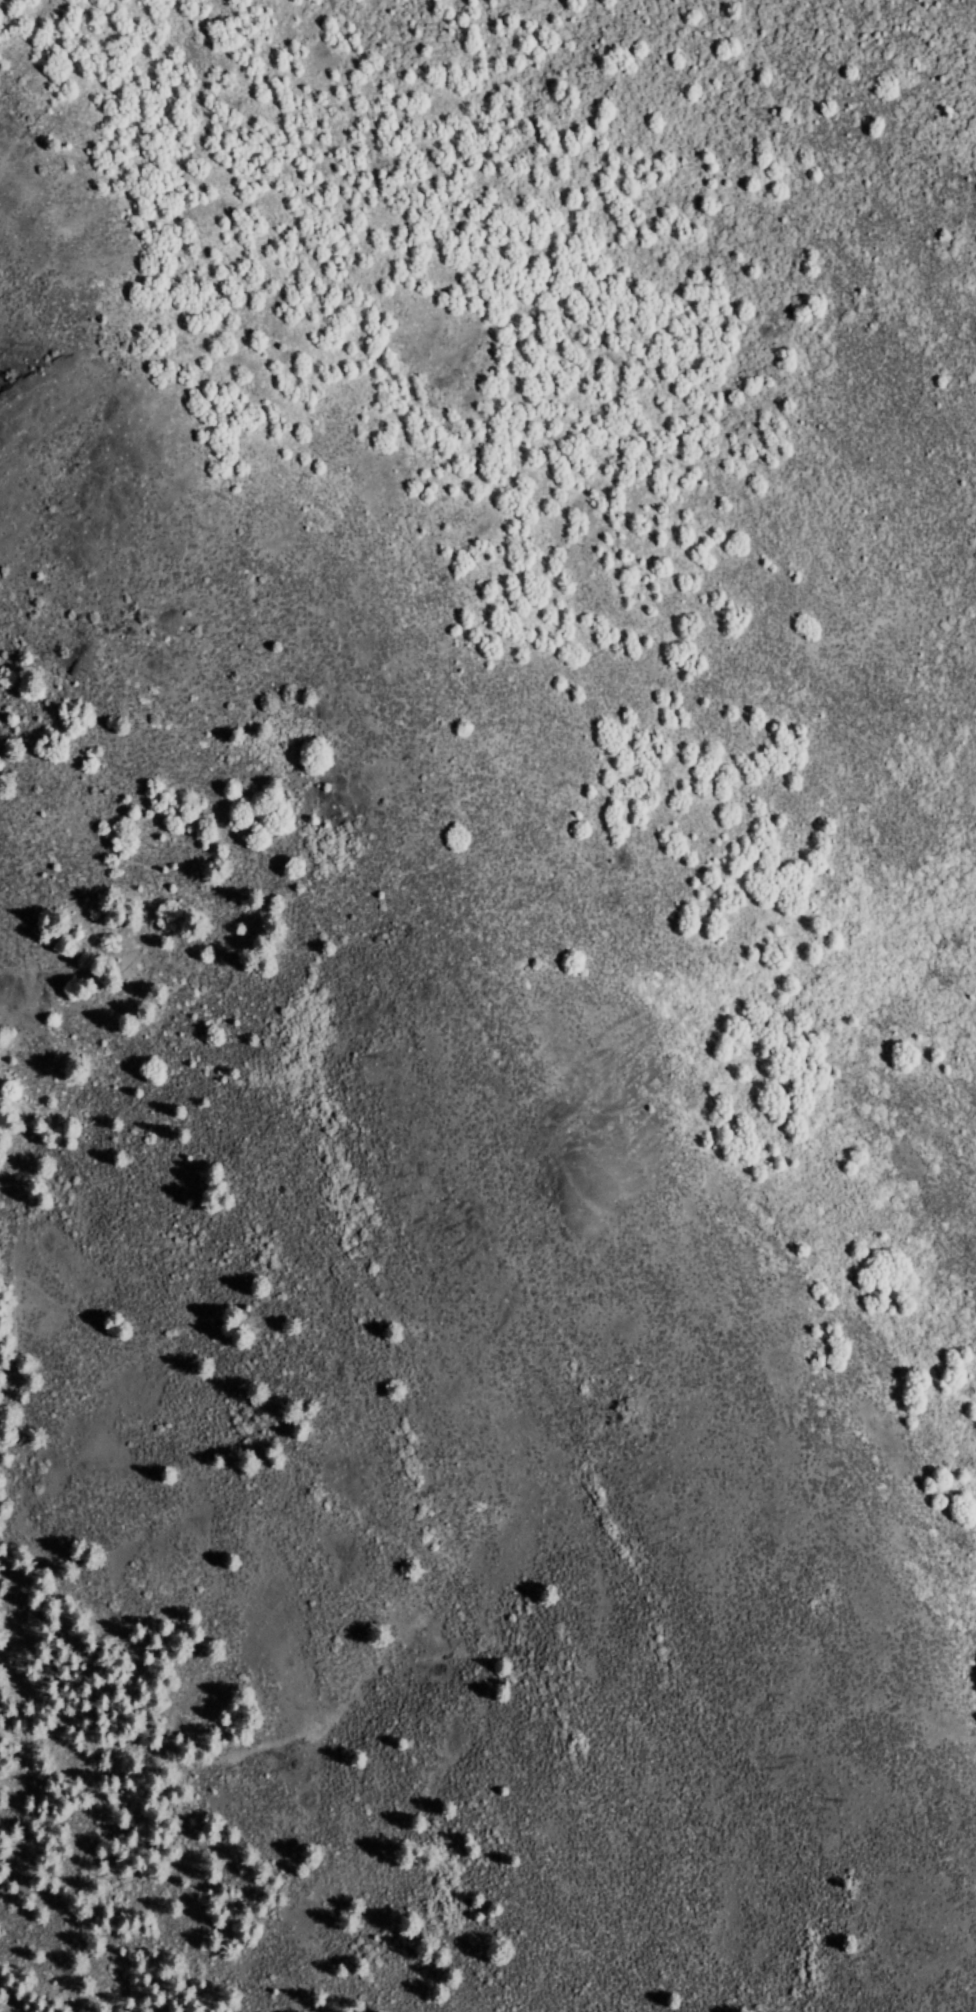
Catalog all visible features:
crop: (770, 1675)

